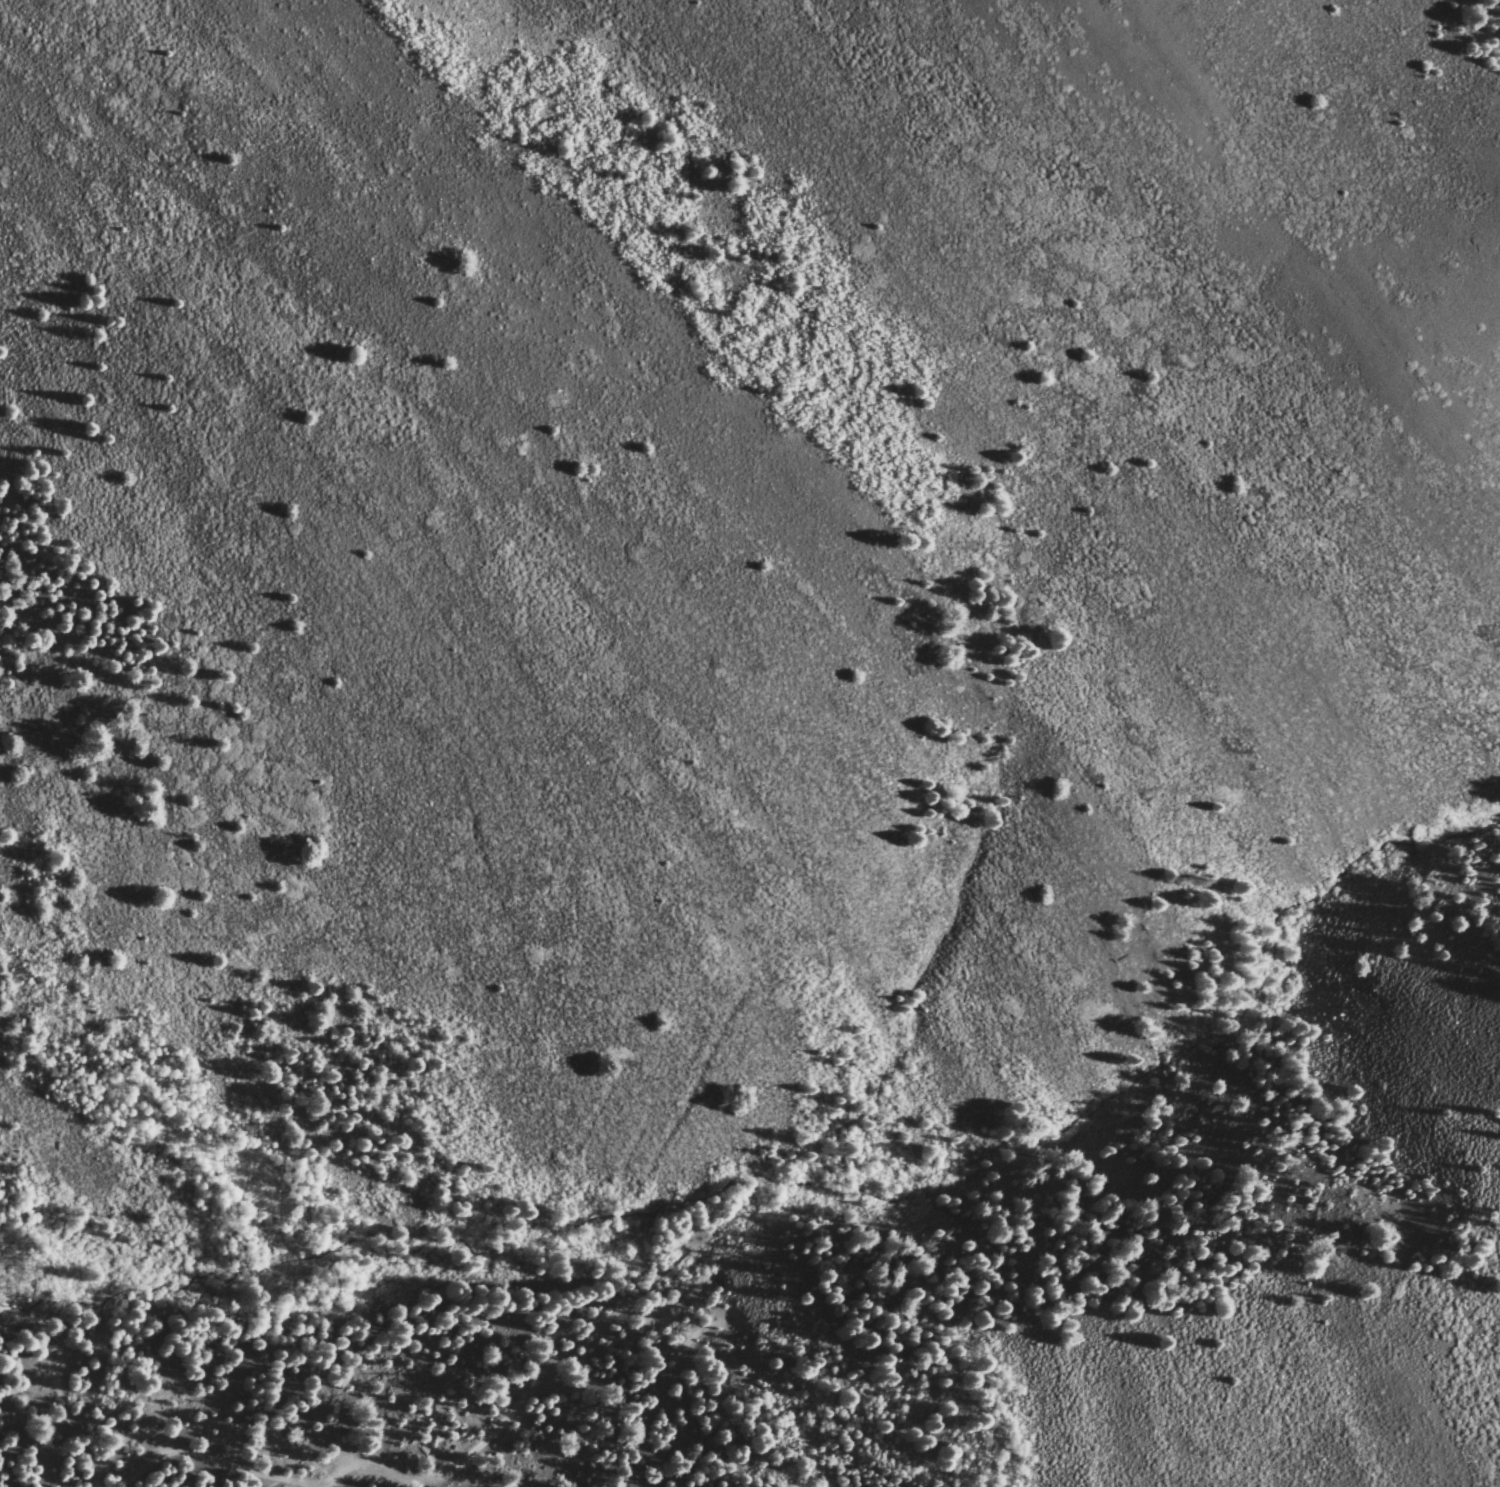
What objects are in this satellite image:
road: (547, 1363)
road: (262, 1473)

